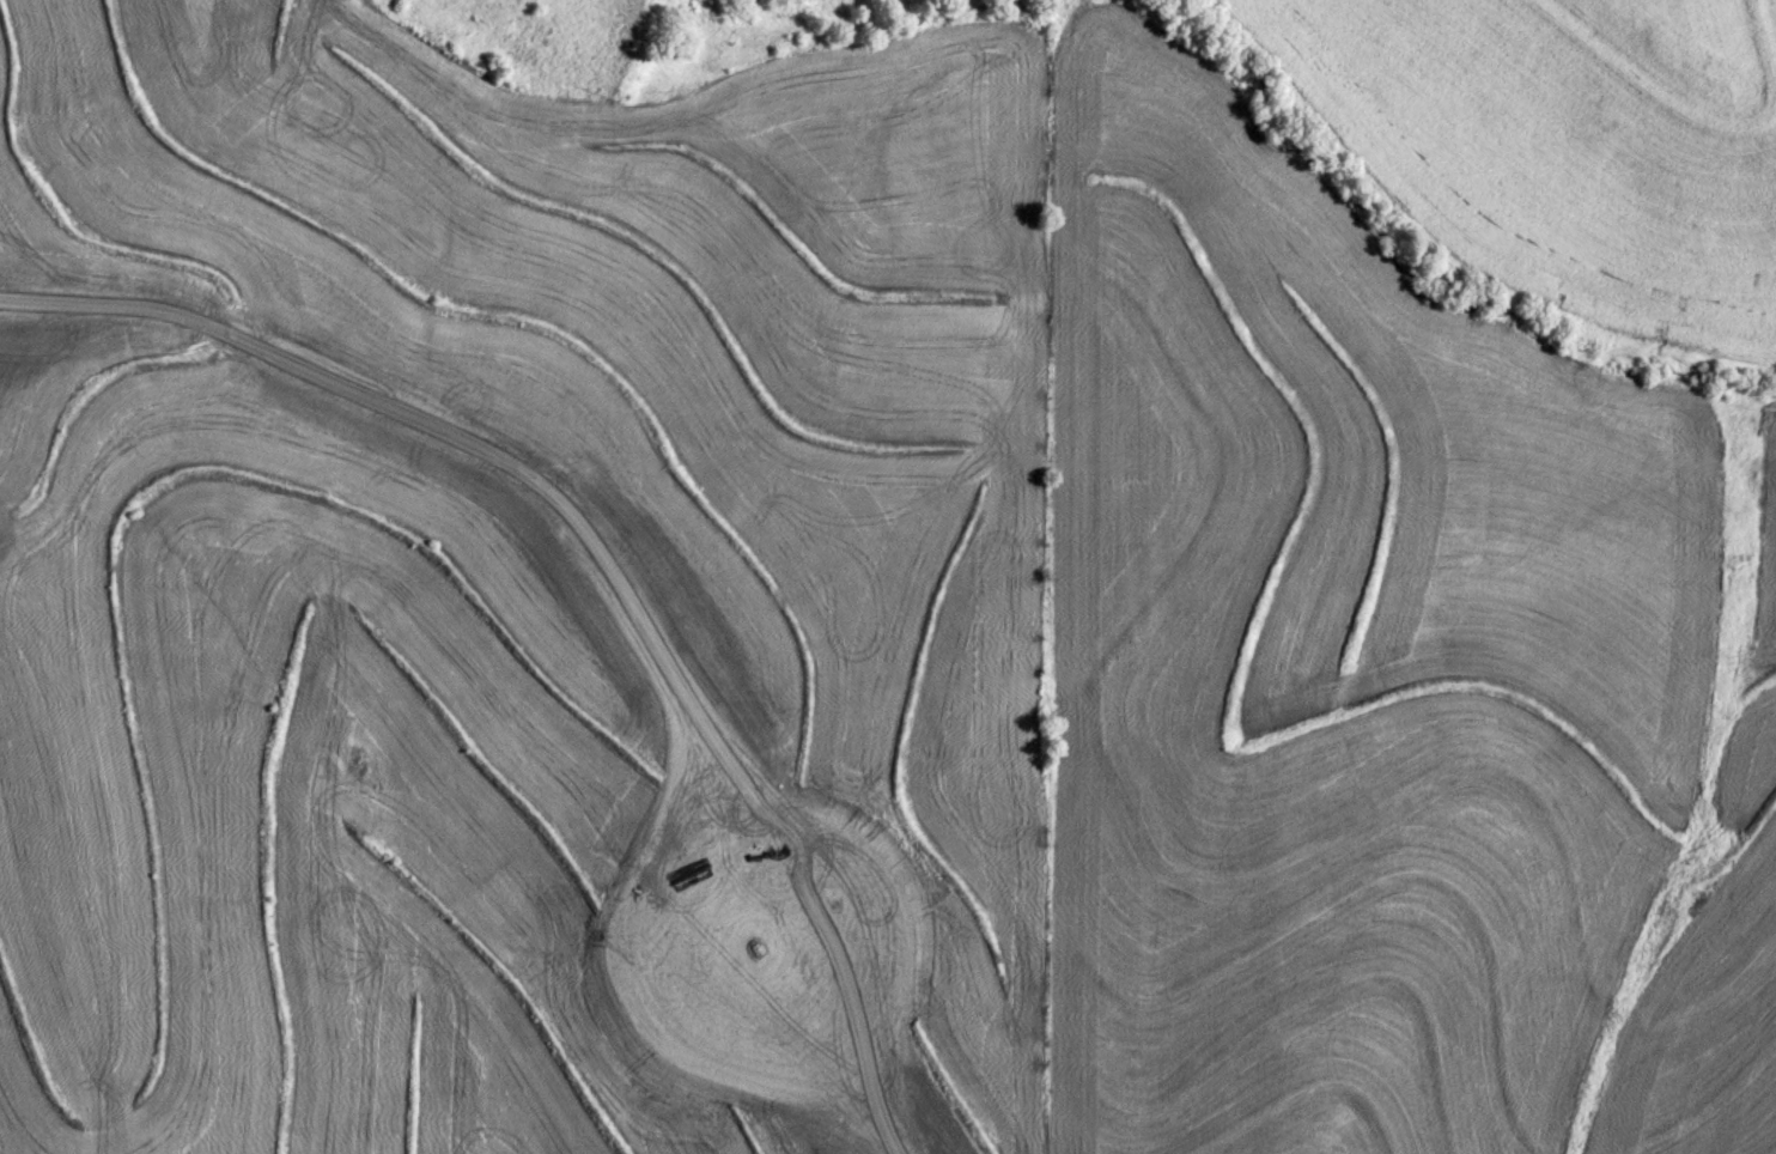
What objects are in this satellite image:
wind turbine: (755, 948)

